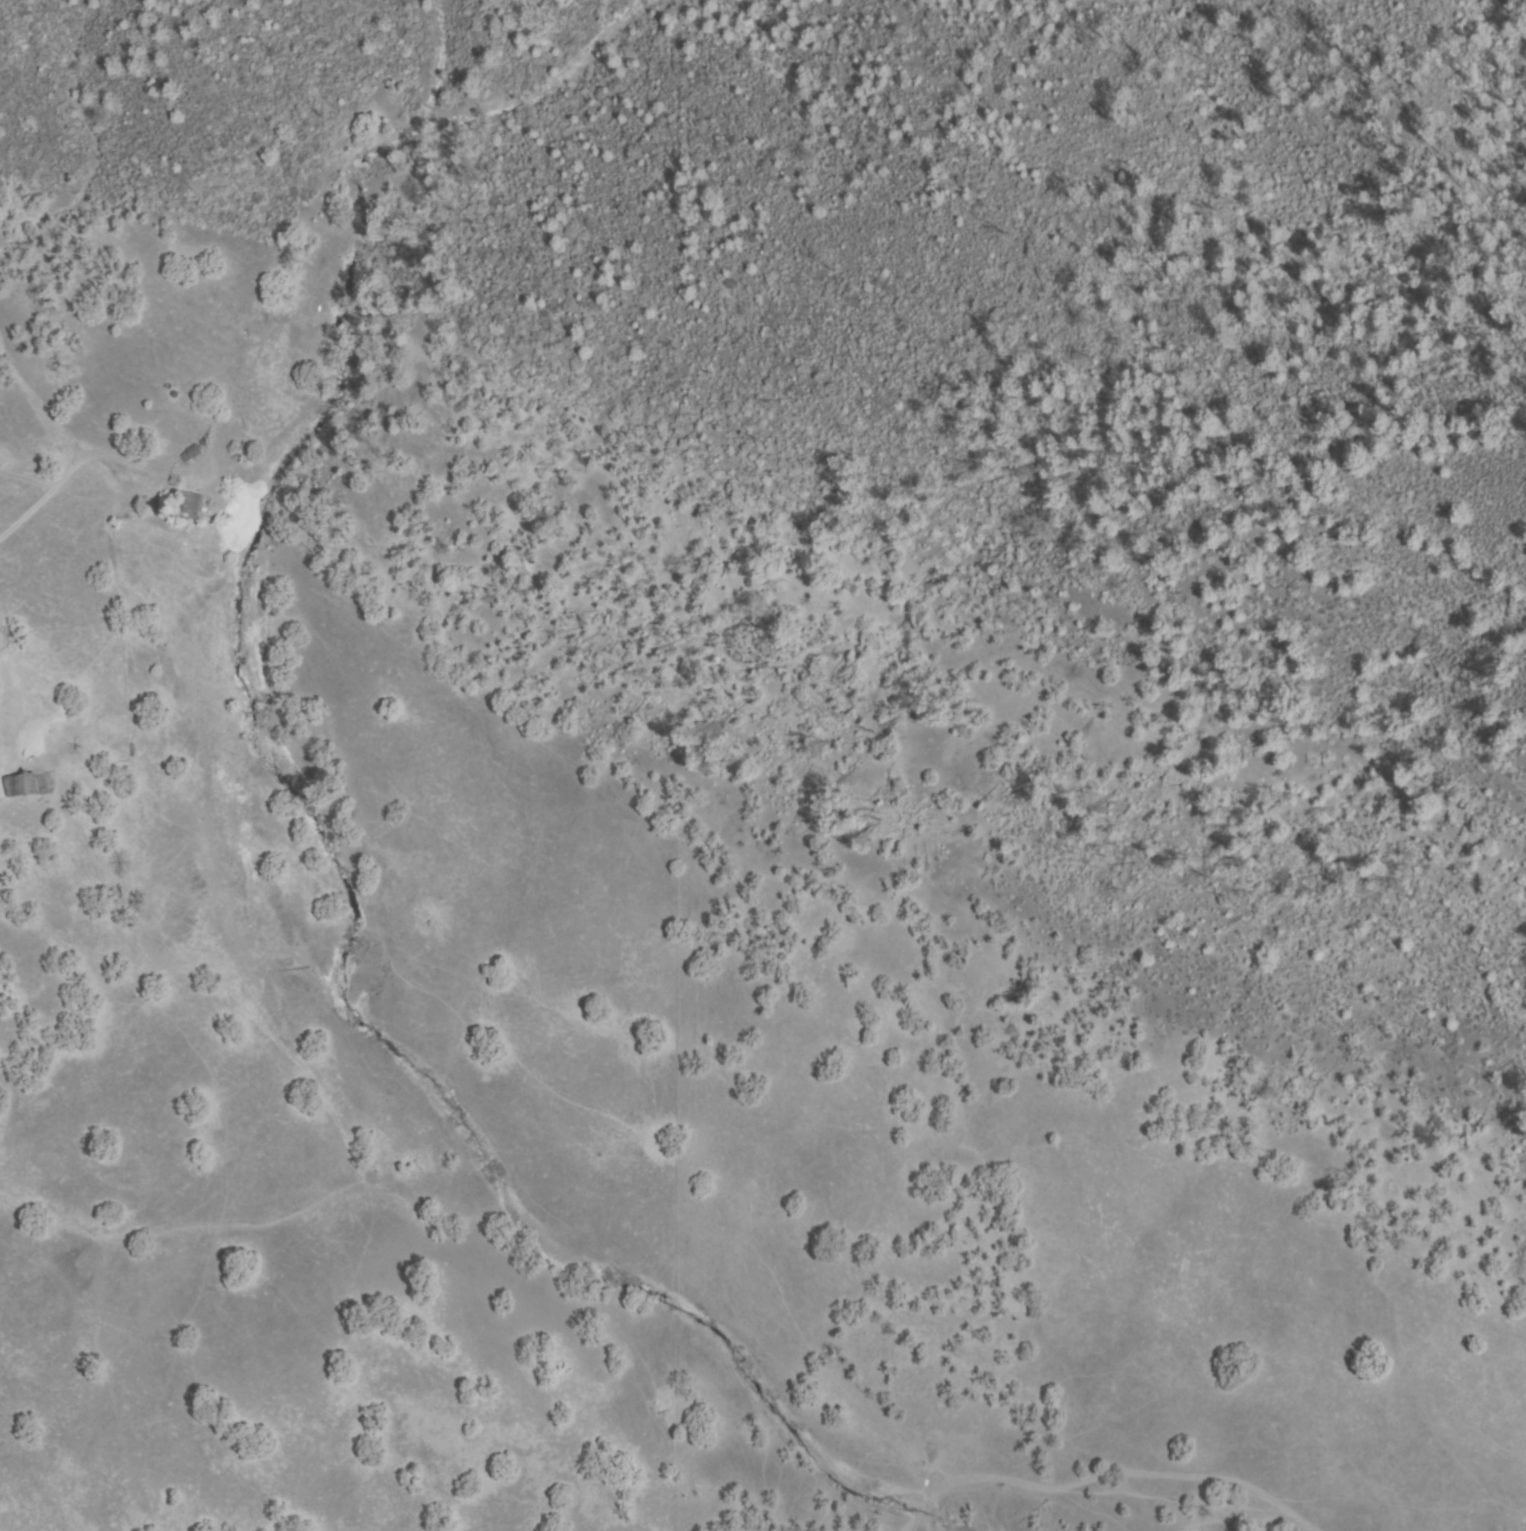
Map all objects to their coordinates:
storage tank: (174, 394)
building: (191, 452)
building: (190, 504)
road: (40, 510)
building: (25, 784)
road: (1120, 1485)

